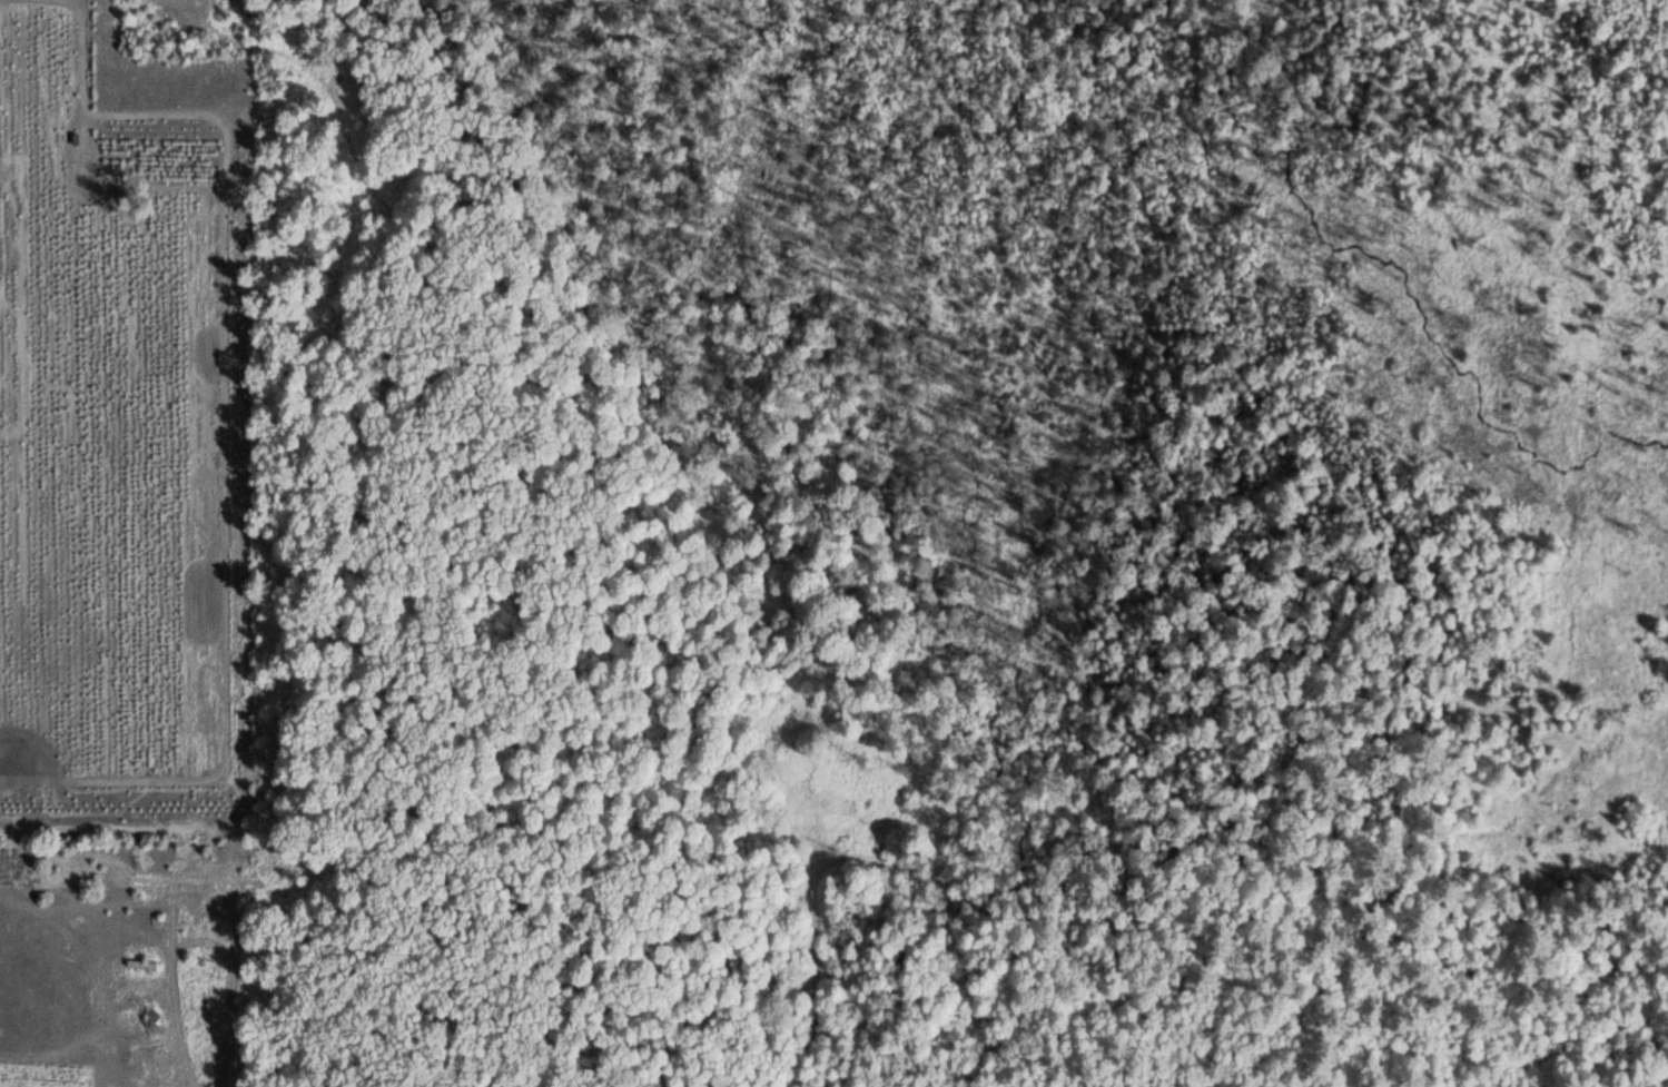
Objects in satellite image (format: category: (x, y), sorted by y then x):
building: (138, 964)

